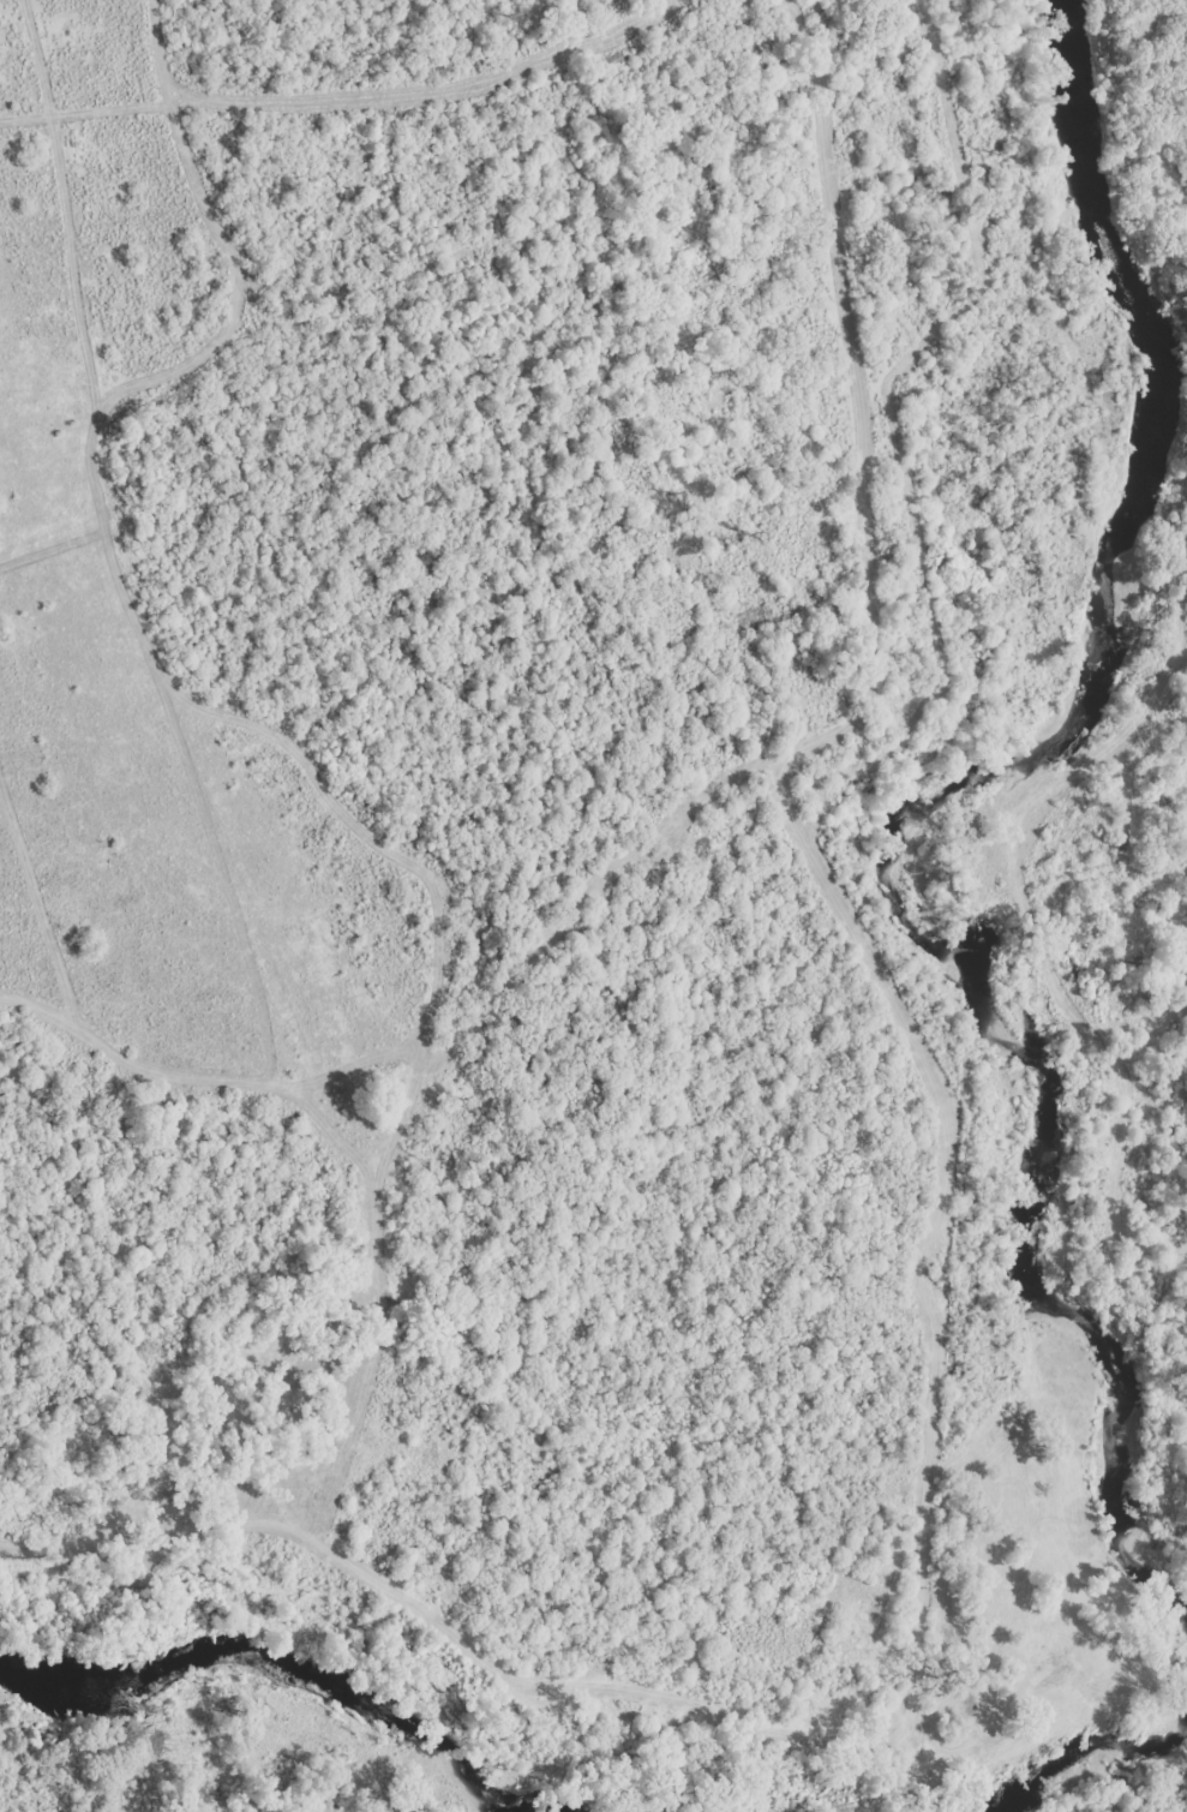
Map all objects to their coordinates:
road: (741, 779)
river: (903, 807)
road: (192, 1367)
river: (275, 1666)
road: (917, 1728)
river: (1110, 1776)

